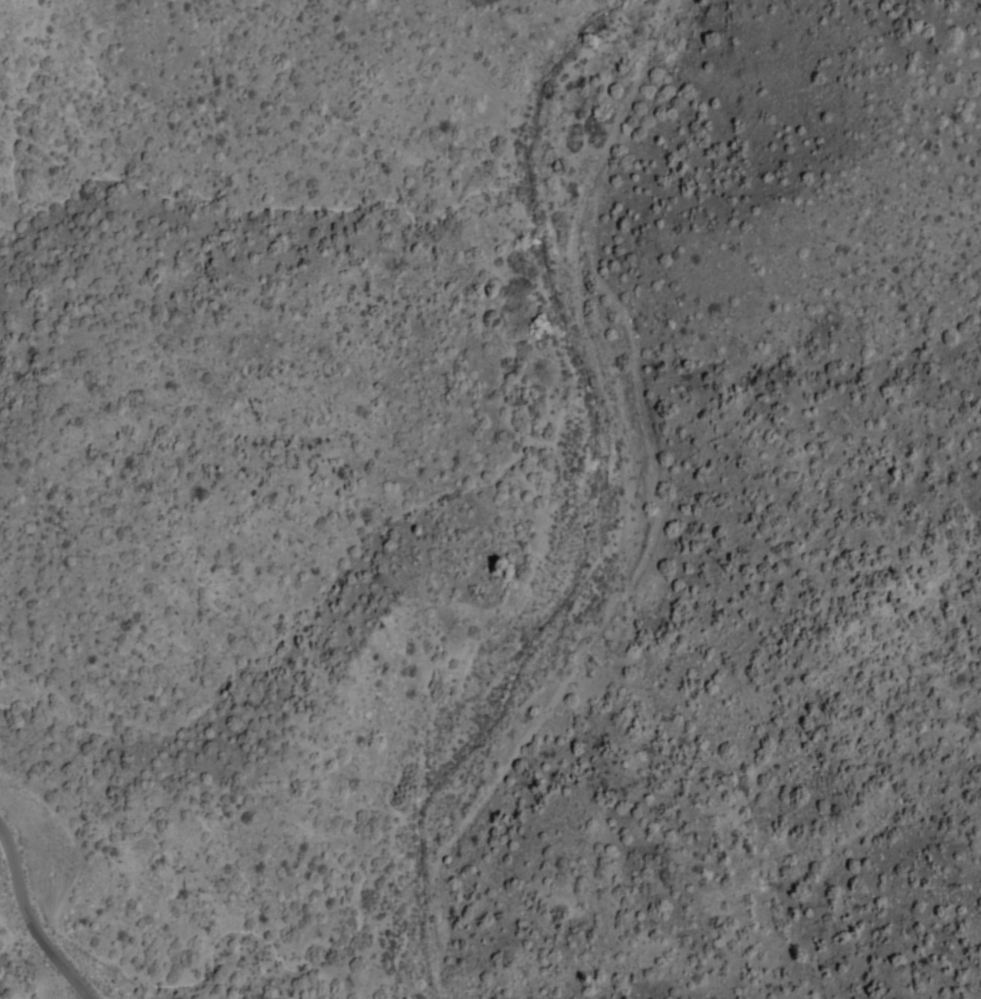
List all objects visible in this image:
road: (640, 531)

